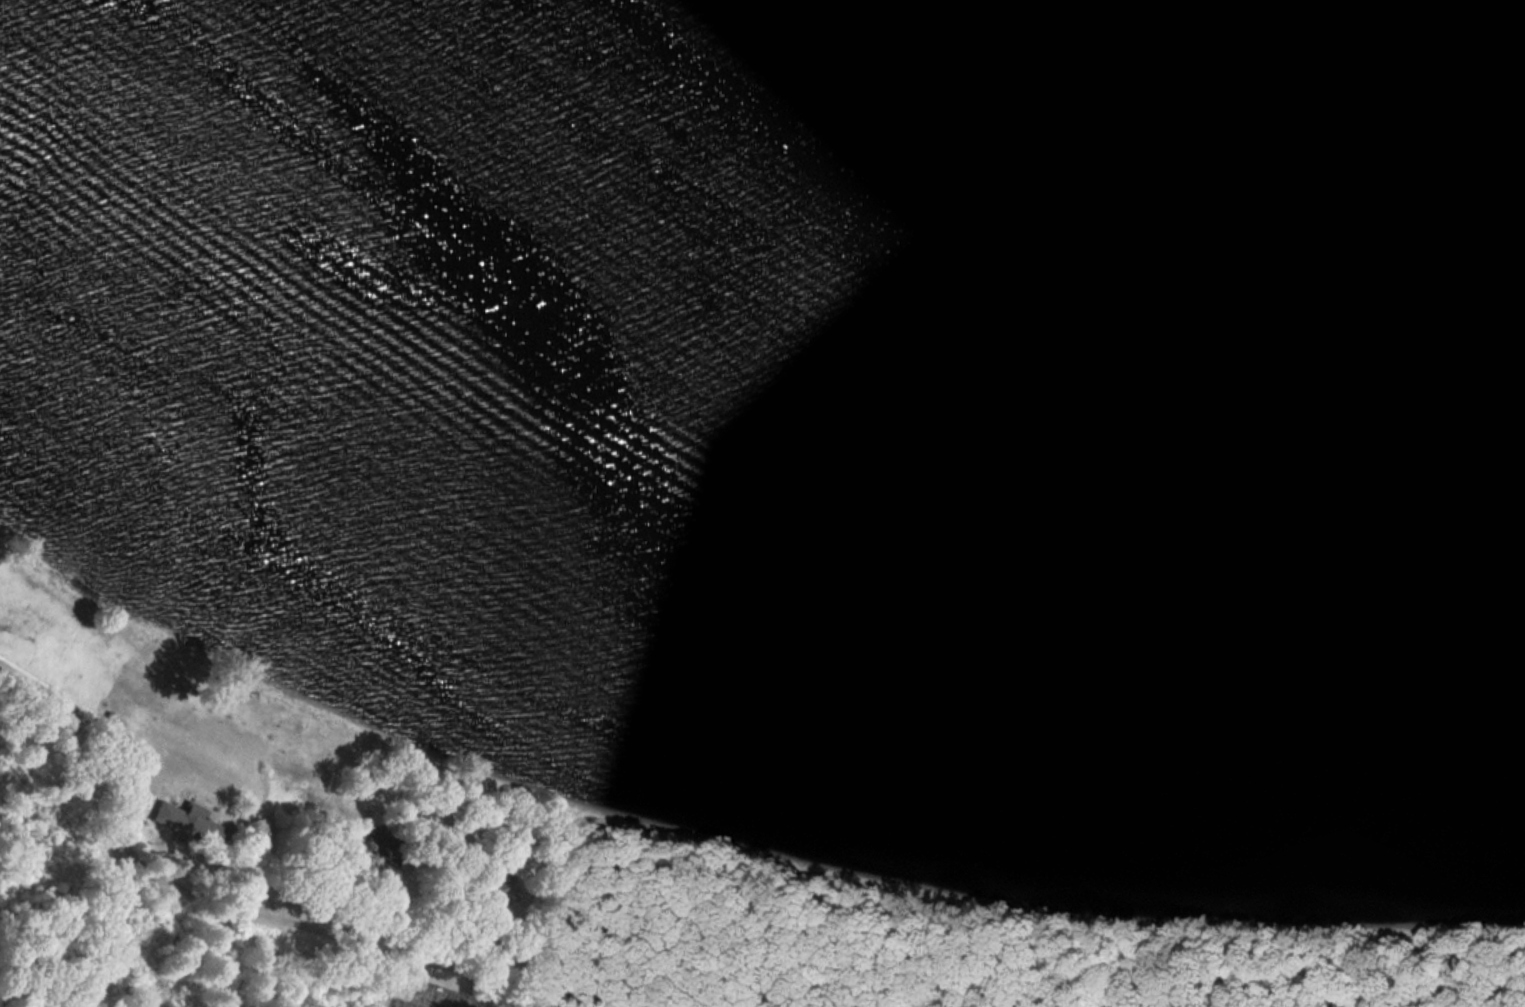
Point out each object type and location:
building: (191, 824)
building: (384, 844)
building: (501, 889)
road: (186, 891)
park: (427, 995)

